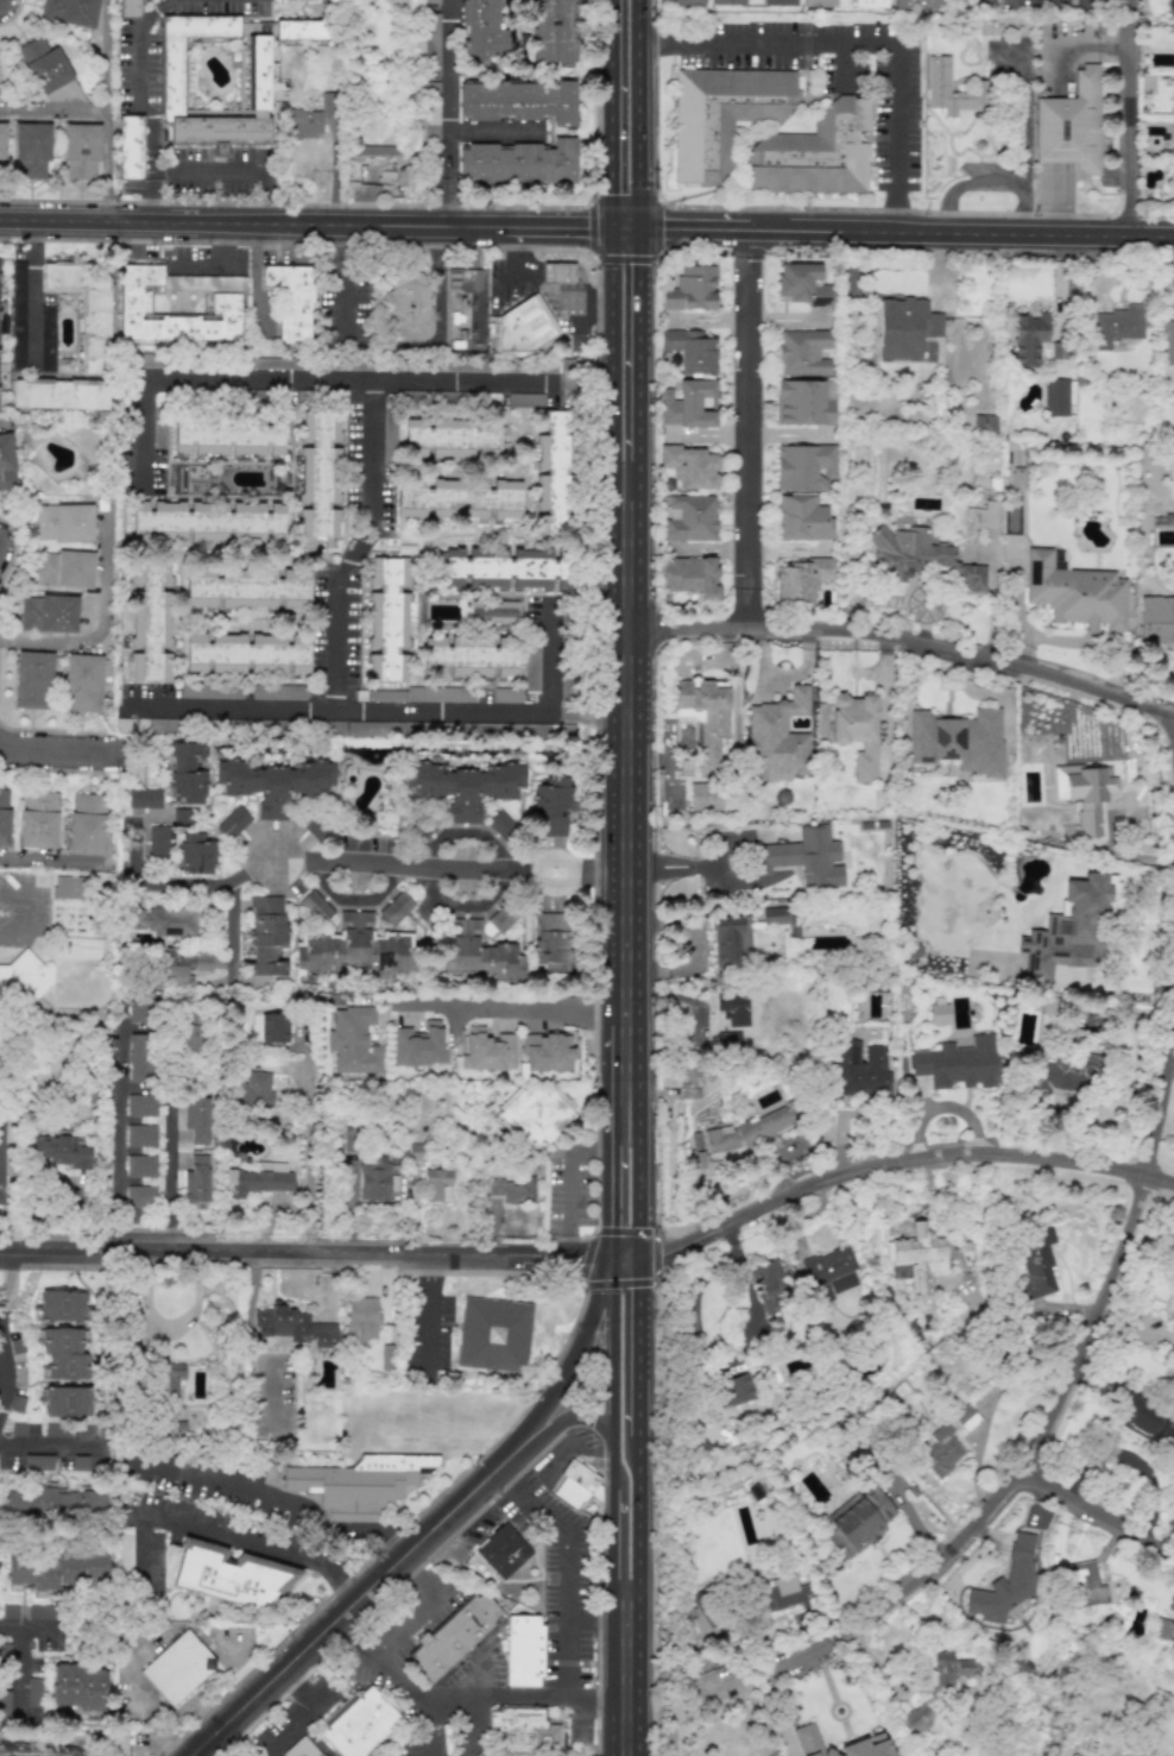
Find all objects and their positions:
building: (431, 1)
building: (688, 1)
building: (727, 2)
building: (778, 2)
building: (818, 2)
building: (869, 4)
building: (917, 4)
building: (128, 8)
building: (70, 11)
building: (481, 27)
building: (305, 30)
building: (553, 31)
building: (431, 42)
road: (652, 43)
road: (788, 43)
building: (44, 64)
road: (841, 65)
building: (254, 74)
building: (938, 86)
building: (518, 100)
road: (107, 109)
road: (53, 111)
road: (449, 112)
road: (623, 113)
building: (721, 115)
road: (1126, 117)
building: (431, 118)
building: (310, 119)
road: (1025, 119)
road: (895, 125)
building: (1069, 125)
road: (494, 132)
building: (1, 147)
building: (128, 147)
building: (31, 150)
building: (81, 150)
building: (379, 150)
road: (152, 153)
building: (812, 153)
building: (519, 162)
road: (965, 184)
road: (1023, 209)
road: (895, 218)
road: (310, 222)
road: (897, 231)
road: (621, 264)
road: (215, 265)
road: (257, 272)
building: (557, 272)
road: (342, 278)
road: (438, 283)
building: (802, 284)
building: (690, 289)
road: (542, 290)
road: (33, 292)
building: (291, 300)
building: (223, 303)
building: (406, 306)
building: (83, 308)
building: (17, 313)
building: (46, 314)
building: (493, 319)
building: (1117, 326)
building: (905, 327)
building: (1029, 339)
road: (621, 342)
building: (1167, 342)
building: (689, 350)
building: (803, 352)
building: (146, 360)
building: (273, 363)
road: (352, 377)
road: (593, 382)
building: (58, 394)
building: (1056, 397)
building: (485, 398)
building: (525, 399)
building: (803, 402)
building: (688, 404)
building: (158, 420)
building: (984, 422)
road: (747, 427)
building: (387, 429)
road: (143, 432)
building: (228, 436)
building: (454, 438)
building: (6, 464)
building: (689, 466)
building: (803, 466)
building: (553, 473)
building: (1018, 477)
building: (318, 480)
building: (457, 499)
building: (982, 516)
building: (689, 517)
building: (802, 518)
building: (207, 521)
building: (63, 522)
road: (356, 542)
building: (921, 556)
building: (1059, 559)
building: (64, 568)
building: (504, 568)
building: (689, 575)
building: (801, 580)
building: (247, 590)
building: (1075, 592)
building: (48, 612)
building: (493, 612)
building: (149, 618)
building: (387, 618)
building: (1156, 618)
road: (101, 623)
road: (904, 641)
building: (246, 654)
building: (468, 656)
building: (531, 667)
building: (31, 680)
building: (81, 682)
building: (566, 688)
building: (278, 691)
building: (217, 692)
building: (427, 694)
building: (506, 696)
road: (395, 707)
road: (583, 715)
building: (705, 718)
building: (158, 724)
building: (271, 725)
road: (1173, 726)
building: (334, 728)
building: (372, 728)
building: (857, 730)
building: (777, 736)
building: (958, 741)
road: (67, 753)
building: (184, 773)
building: (273, 782)
building: (462, 787)
building: (1084, 794)
building: (705, 797)
building: (144, 798)
building: (550, 807)
building: (179, 814)
building: (4, 817)
building: (37, 819)
road: (618, 820)
building: (86, 822)
building: (232, 823)
building: (500, 823)
building: (315, 826)
road: (467, 832)
building: (157, 843)
building: (194, 854)
building: (803, 857)
road: (43, 858)
road: (337, 861)
road: (694, 866)
road: (732, 882)
building: (68, 887)
road: (29, 898)
road: (356, 900)
road: (463, 904)
building: (316, 905)
building: (396, 907)
building: (776, 915)
building: (165, 920)
road: (232, 926)
building: (1069, 927)
road: (11, 929)
building: (265, 938)
building: (550, 940)
building: (730, 942)
building: (353, 948)
building: (478, 952)
building: (182, 967)
building: (24, 976)
building: (1048, 1005)
road: (510, 1008)
building: (733, 1008)
building: (139, 1011)
building: (939, 1014)
building: (273, 1027)
building: (189, 1037)
building: (353, 1040)
building: (727, 1040)
building: (418, 1045)
building: (487, 1050)
building: (547, 1051)
building: (139, 1057)
building: (957, 1064)
building: (861, 1070)
building: (1068, 1072)
building: (257, 1089)
building: (141, 1104)
building: (536, 1113)
building: (196, 1119)
building: (747, 1131)
building: (140, 1135)
road: (310, 1145)
building: (59, 1151)
road: (119, 1153)
road: (884, 1154)
building: (1, 1163)
building: (140, 1165)
building: (377, 1177)
building: (259, 1178)
road: (170, 1179)
building: (196, 1179)
building: (438, 1183)
road: (572, 1183)
building: (513, 1190)
building: (140, 1195)
road: (286, 1252)
road: (739, 1257)
road: (594, 1259)
building: (924, 1260)
building: (1036, 1260)
building: (829, 1272)
road: (745, 1273)
road: (0, 1280)
building: (768, 1285)
building: (62, 1305)
road: (427, 1315)
building: (362, 1321)
building: (293, 1326)
building: (493, 1333)
road: (699, 1343)
road: (619, 1346)
road: (577, 1353)
building: (63, 1354)
road: (5, 1365)
road: (4, 1372)
building: (170, 1378)
building: (737, 1389)
building: (67, 1402)
building: (964, 1416)
road: (573, 1418)
building: (1148, 1422)
road: (1043, 1425)
building: (19, 1429)
building: (58, 1430)
road: (49, 1443)
building: (941, 1450)
building: (38, 1462)
building: (78, 1462)
building: (358, 1481)
building: (577, 1486)
building: (55, 1502)
road: (283, 1502)
road: (1097, 1509)
building: (856, 1522)
road: (228, 1535)
building: (125, 1548)
building: (503, 1549)
road: (566, 1550)
building: (57, 1569)
building: (229, 1575)
building: (1004, 1582)
building: (1080, 1585)
road: (389, 1594)
road: (625, 1594)
road: (360, 1599)
road: (421, 1607)
building: (39, 1611)
building: (1163, 1630)
building: (453, 1637)
building: (523, 1650)
road: (573, 1656)
building: (177, 1667)
road: (18, 1669)
building: (947, 1670)
road: (598, 1678)
building: (77, 1687)
building: (33, 1695)
road: (467, 1698)
building: (4, 1705)
road: (308, 1714)
building: (358, 1723)
road: (427, 1725)
building: (524, 1731)
building: (869, 1742)
building: (120, 1743)
building: (301, 1749)

